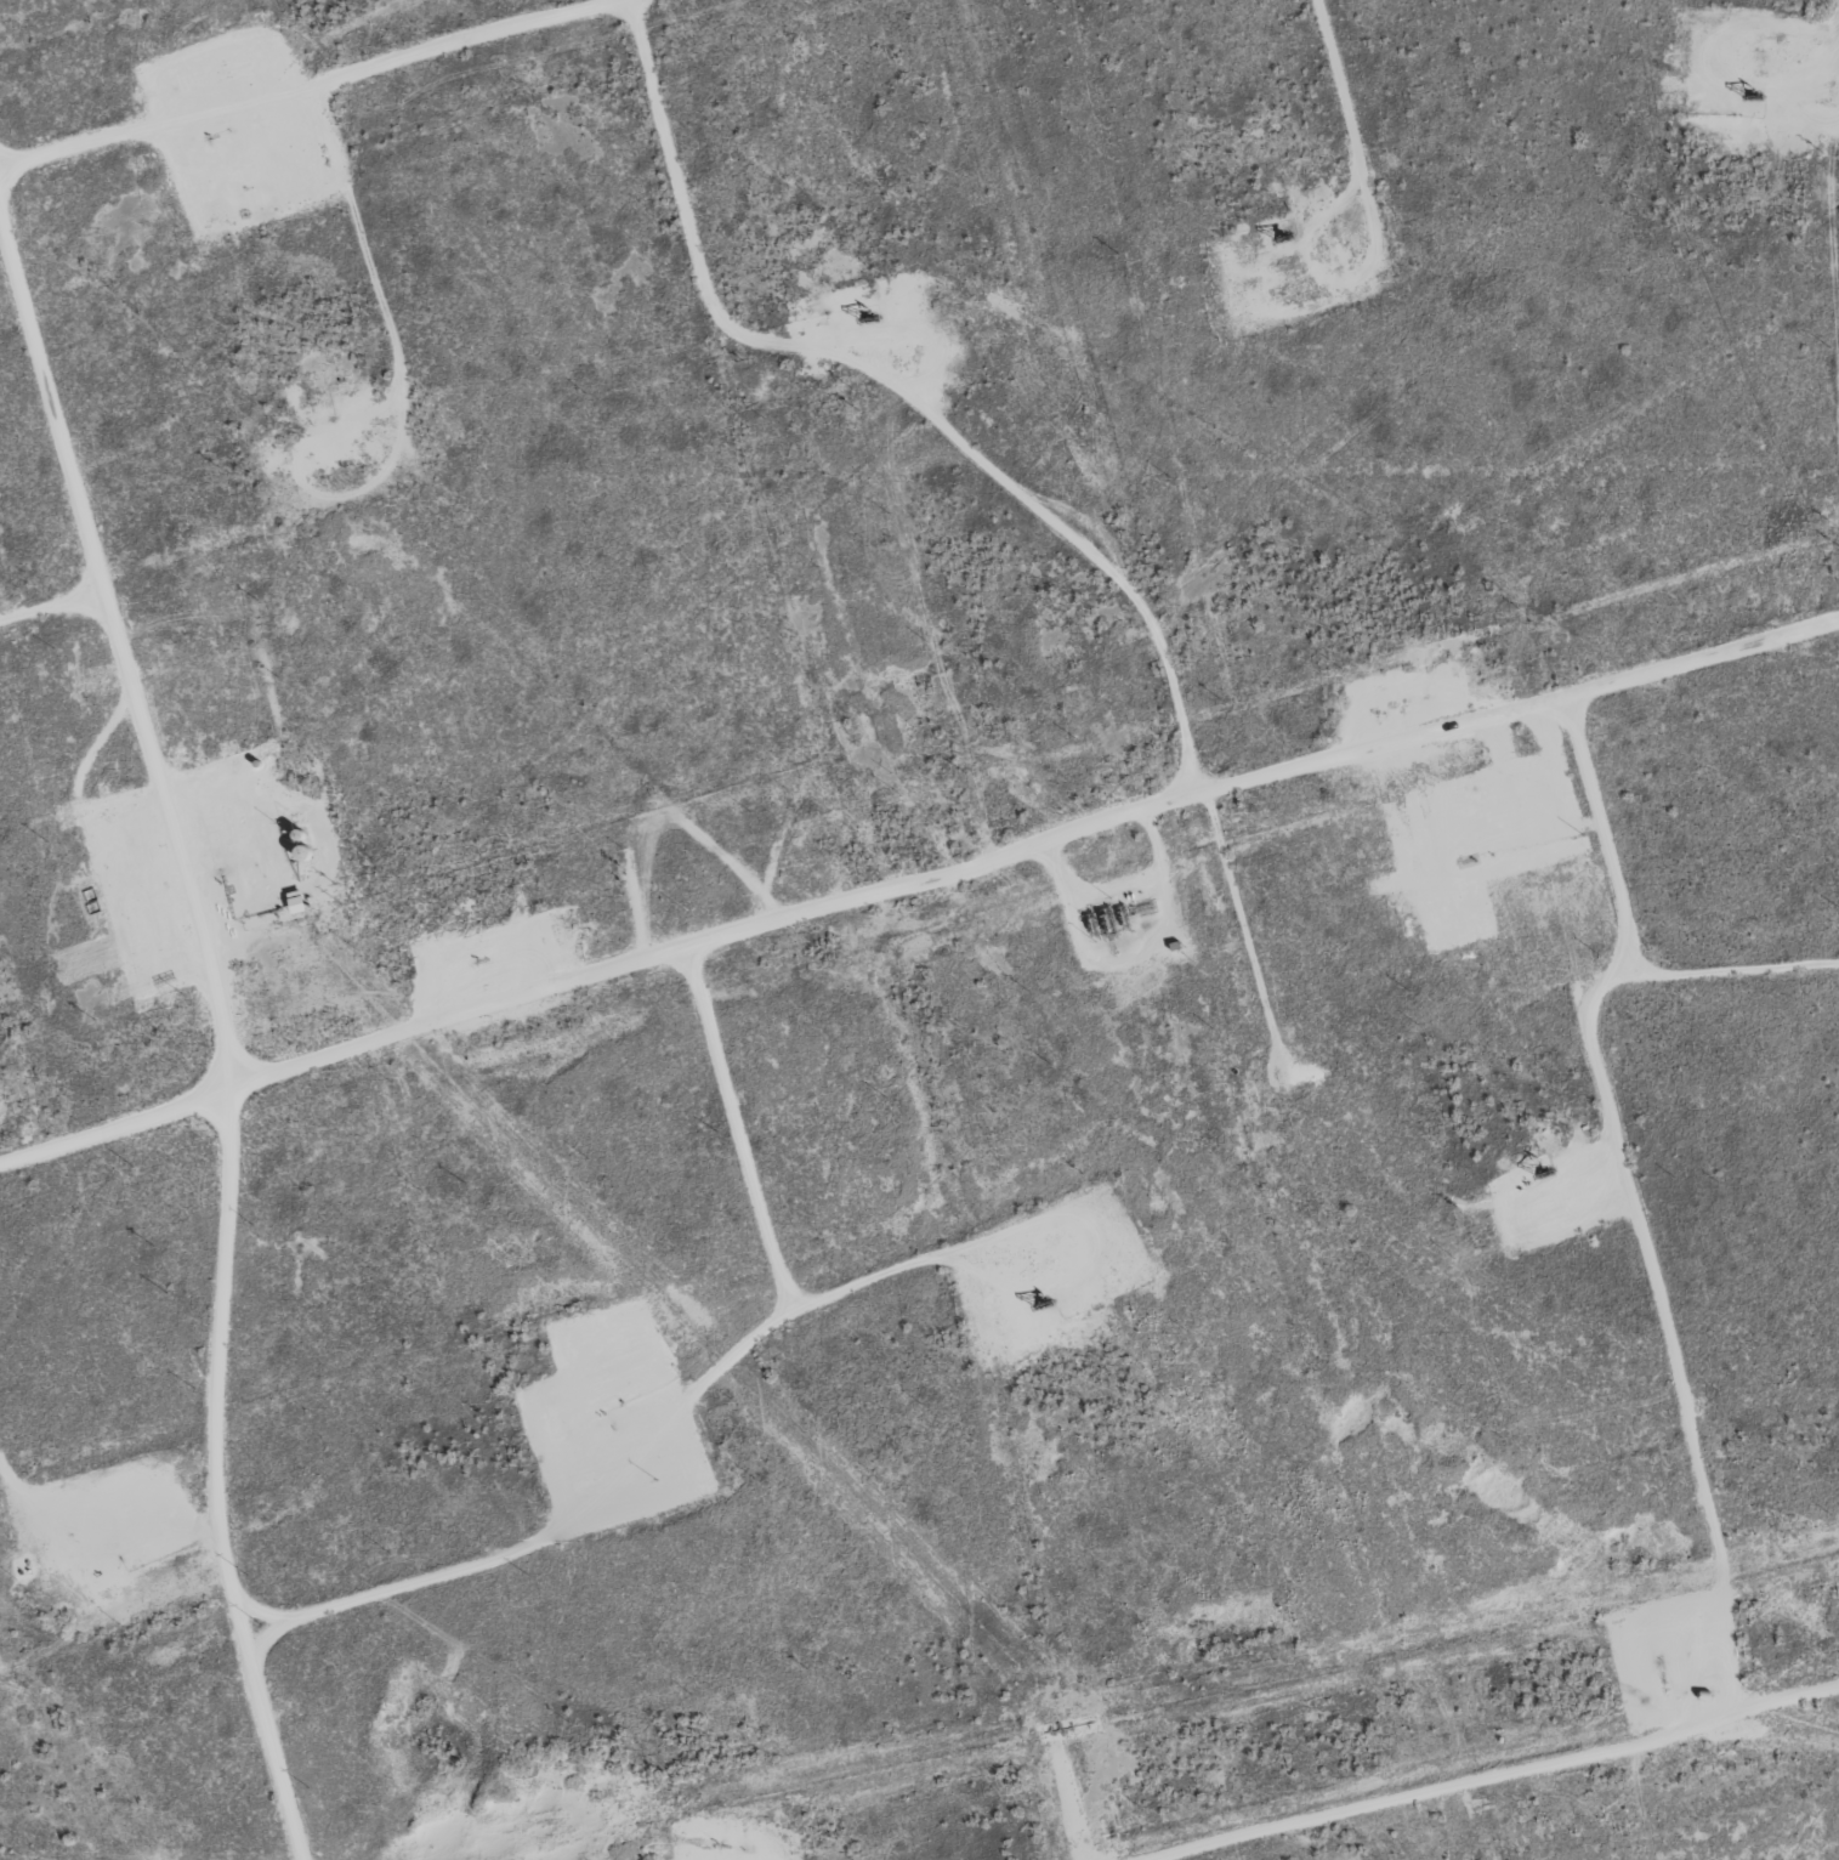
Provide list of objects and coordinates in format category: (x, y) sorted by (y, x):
road: (628, 1)
road: (317, 83)
petroleum well: (1749, 91)
petroleum well: (1283, 238)
petroleum well: (858, 312)
road: (1039, 850)
road: (225, 1031)
road: (119, 1118)
petroleum well: (1545, 1173)
petroleum well: (1044, 1300)
petroleum well: (600, 1427)
petroleum well: (98, 1556)
road: (1500, 1770)
road: (1322, 1839)

